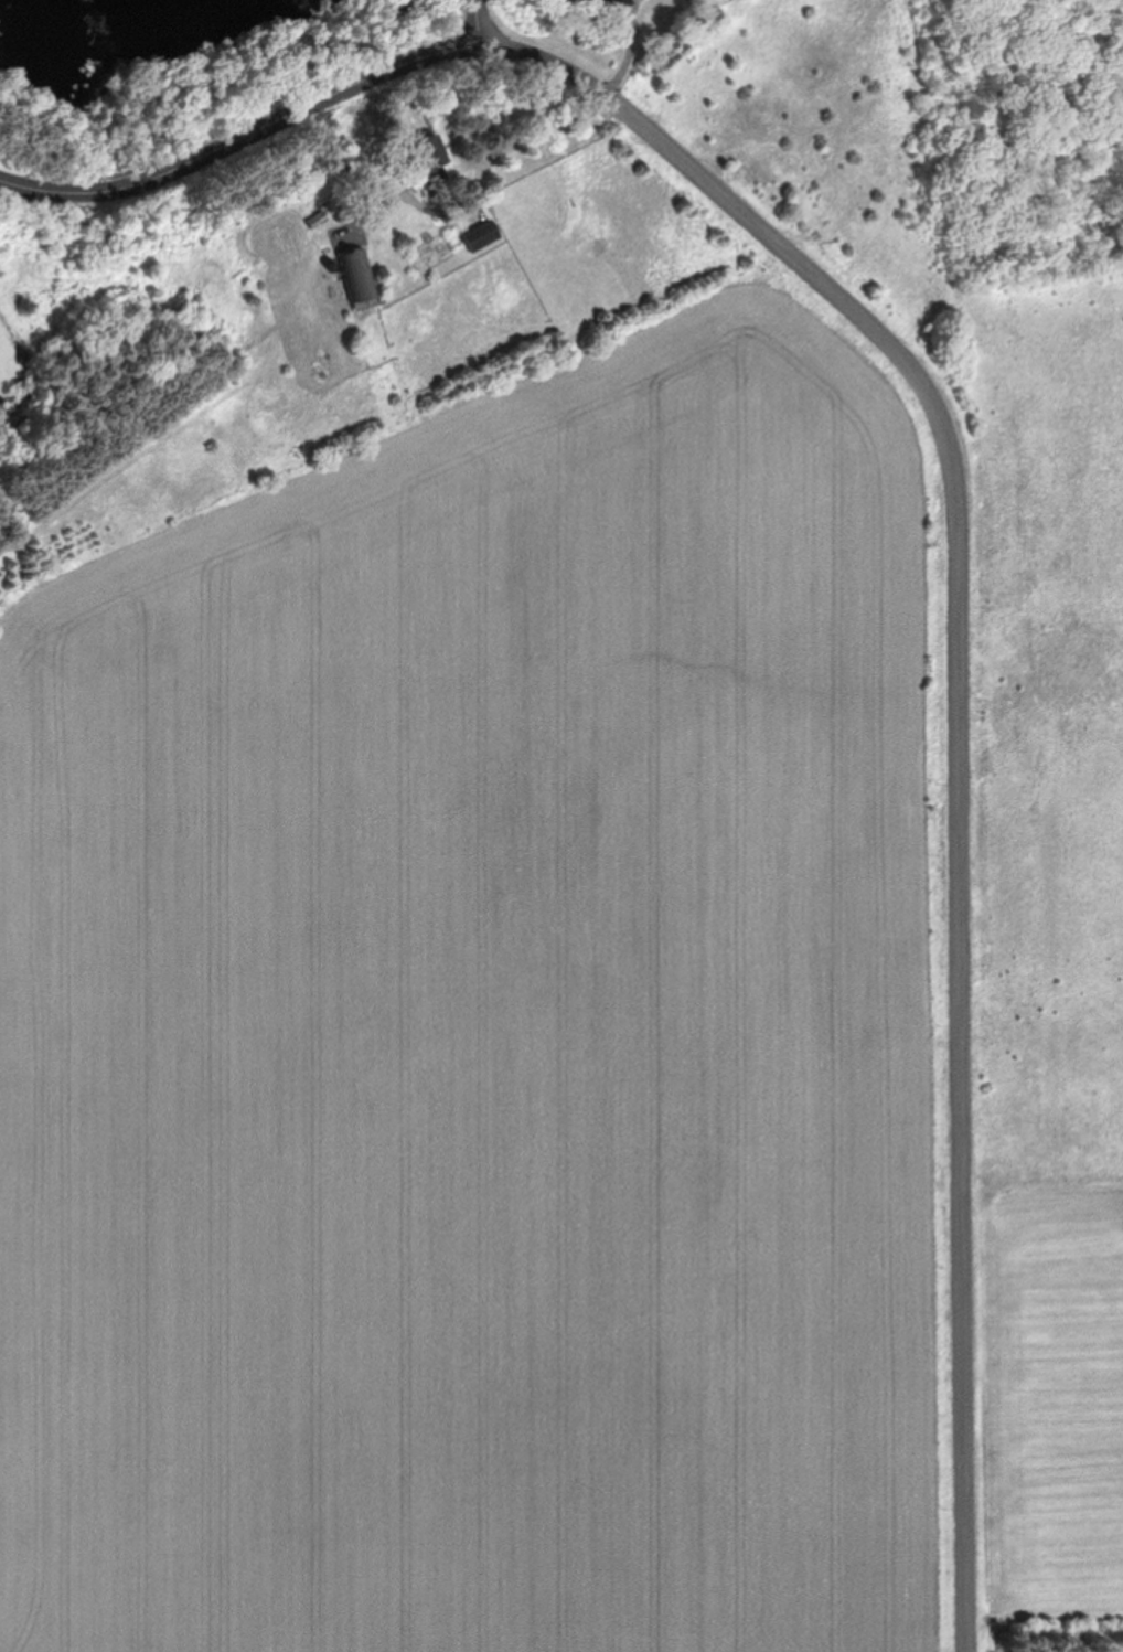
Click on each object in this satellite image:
building: (611, 6)
road: (473, 14)
road: (539, 132)
road: (243, 137)
building: (429, 156)
building: (482, 235)
building: (359, 275)
road: (959, 726)
park: (1047, 818)

